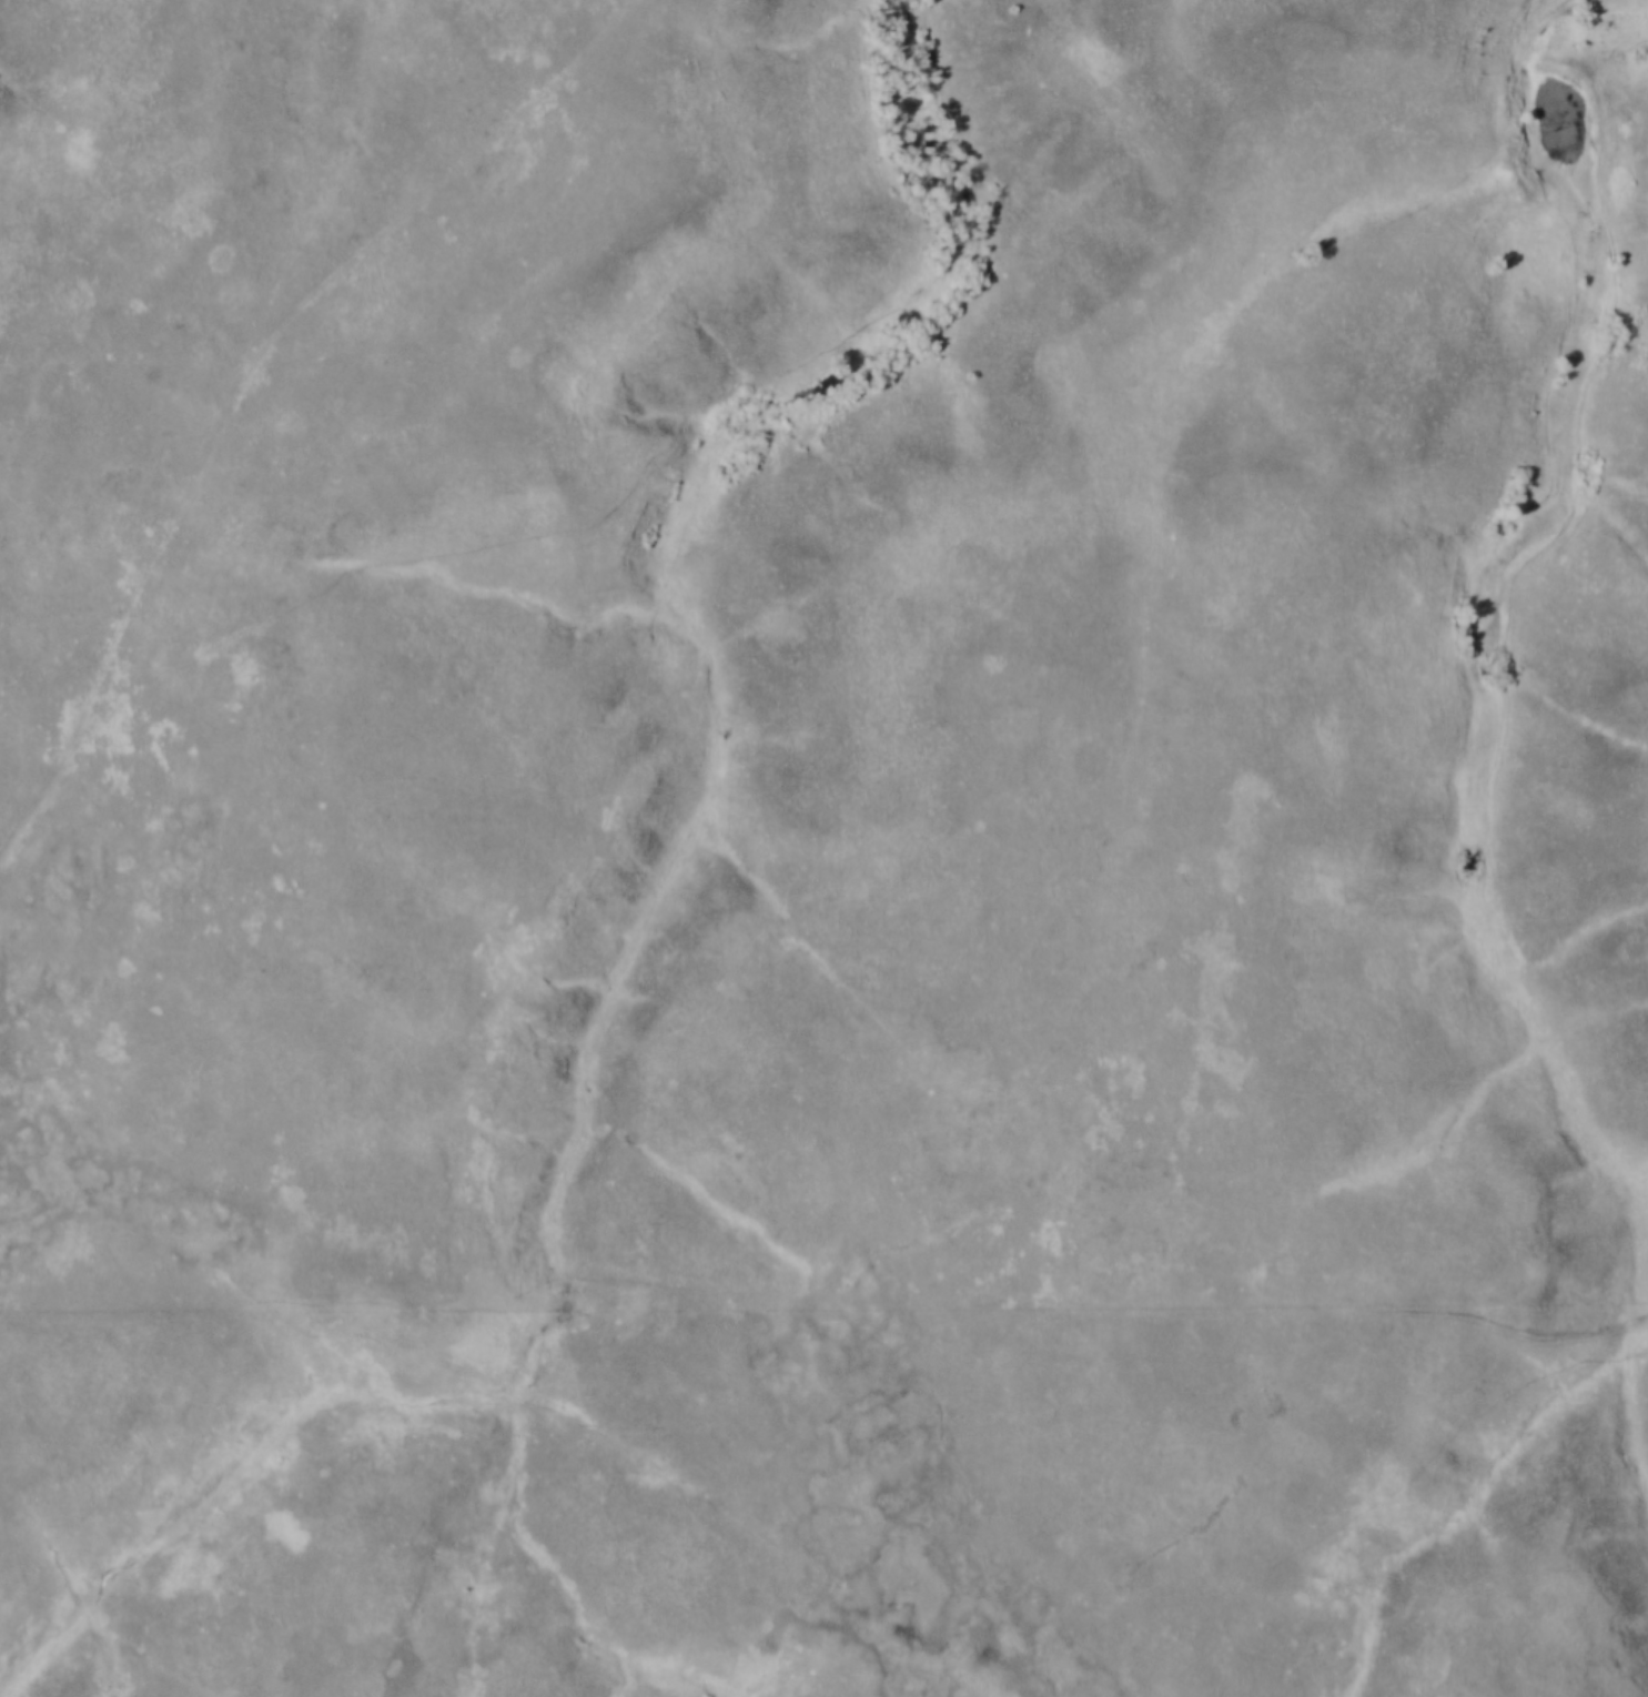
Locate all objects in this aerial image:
road: (245, 382)
road: (826, 1314)

